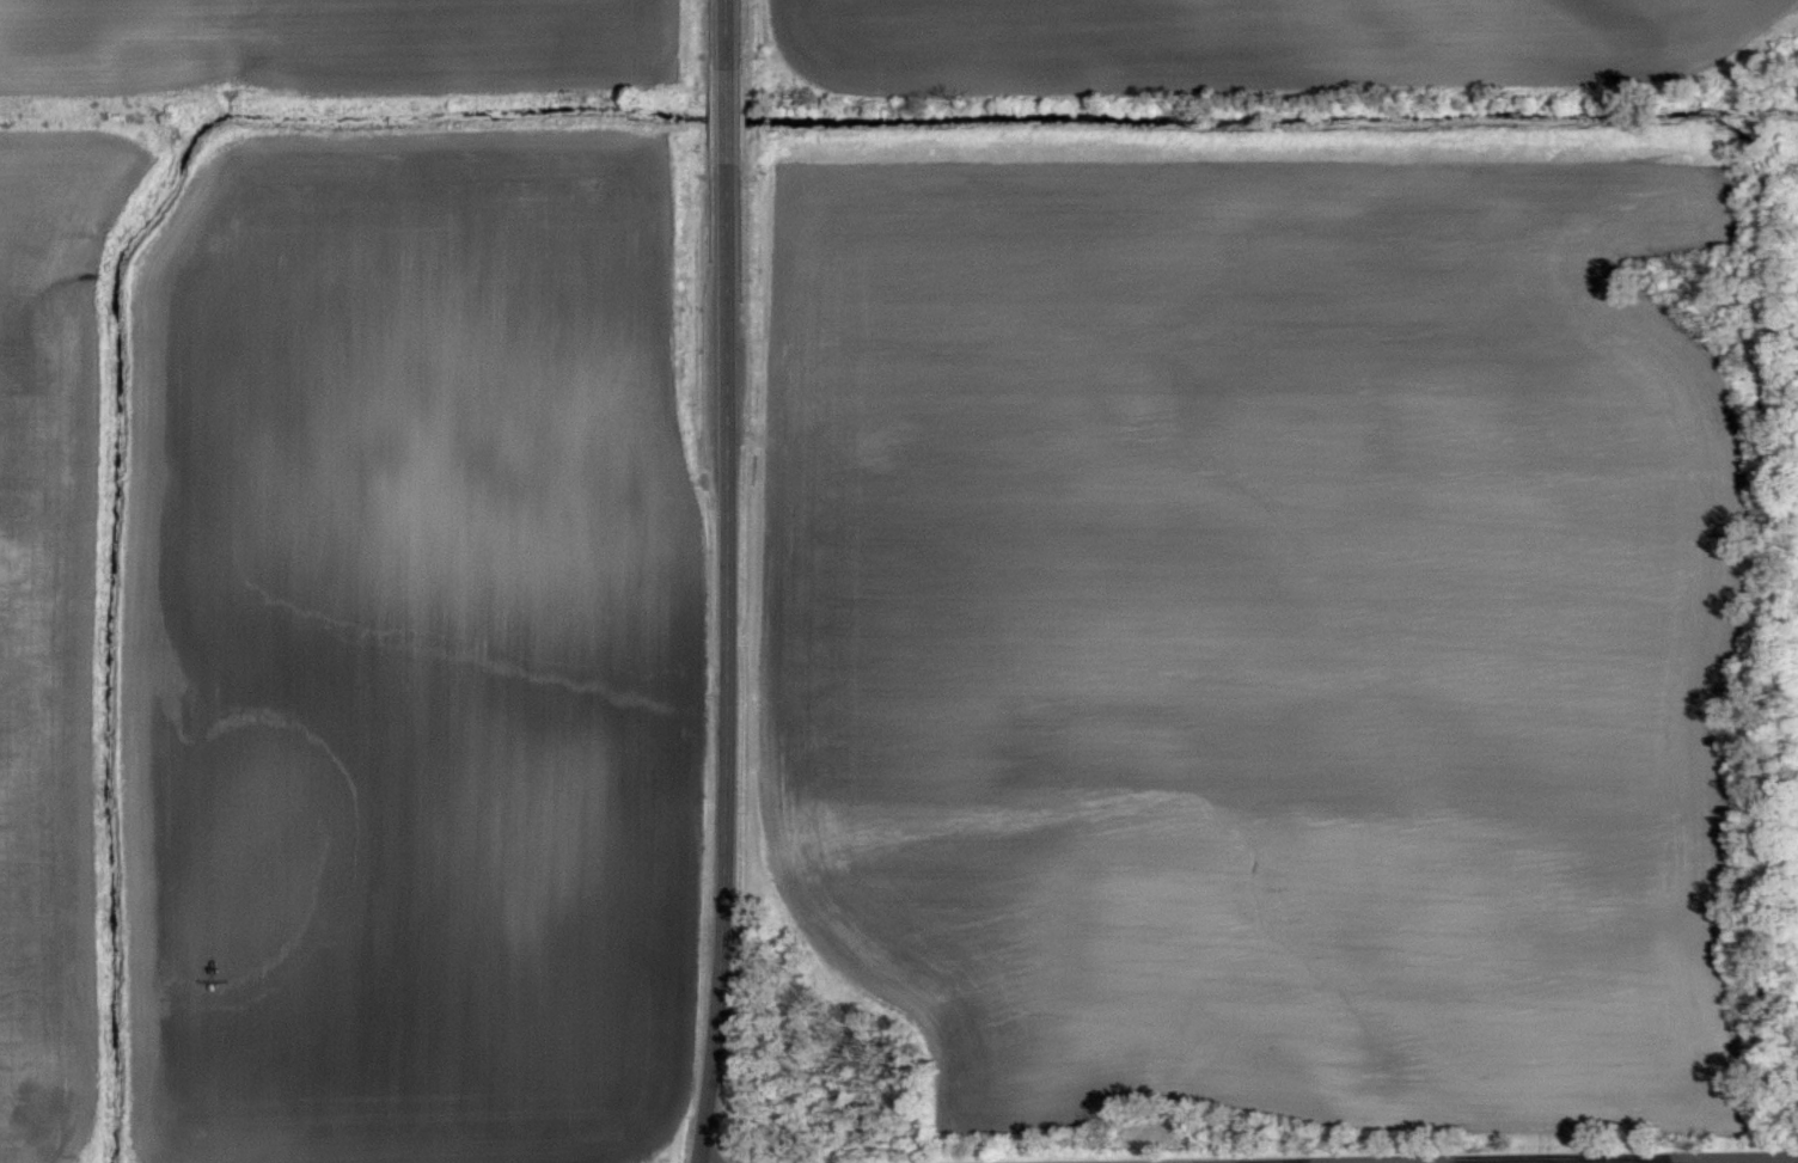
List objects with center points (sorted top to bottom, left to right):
road: (722, 581)
road: (1586, 1161)

